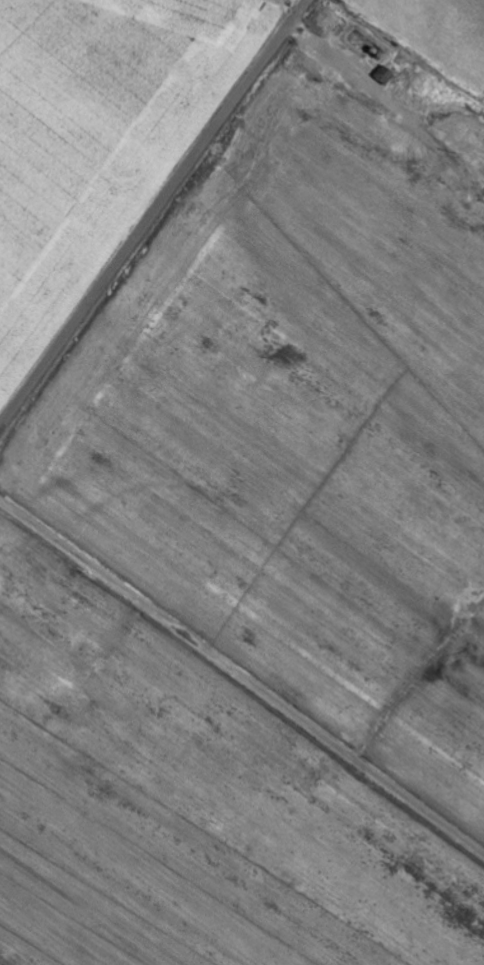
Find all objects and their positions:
park: (459, 49)
road: (151, 211)
road: (242, 676)

